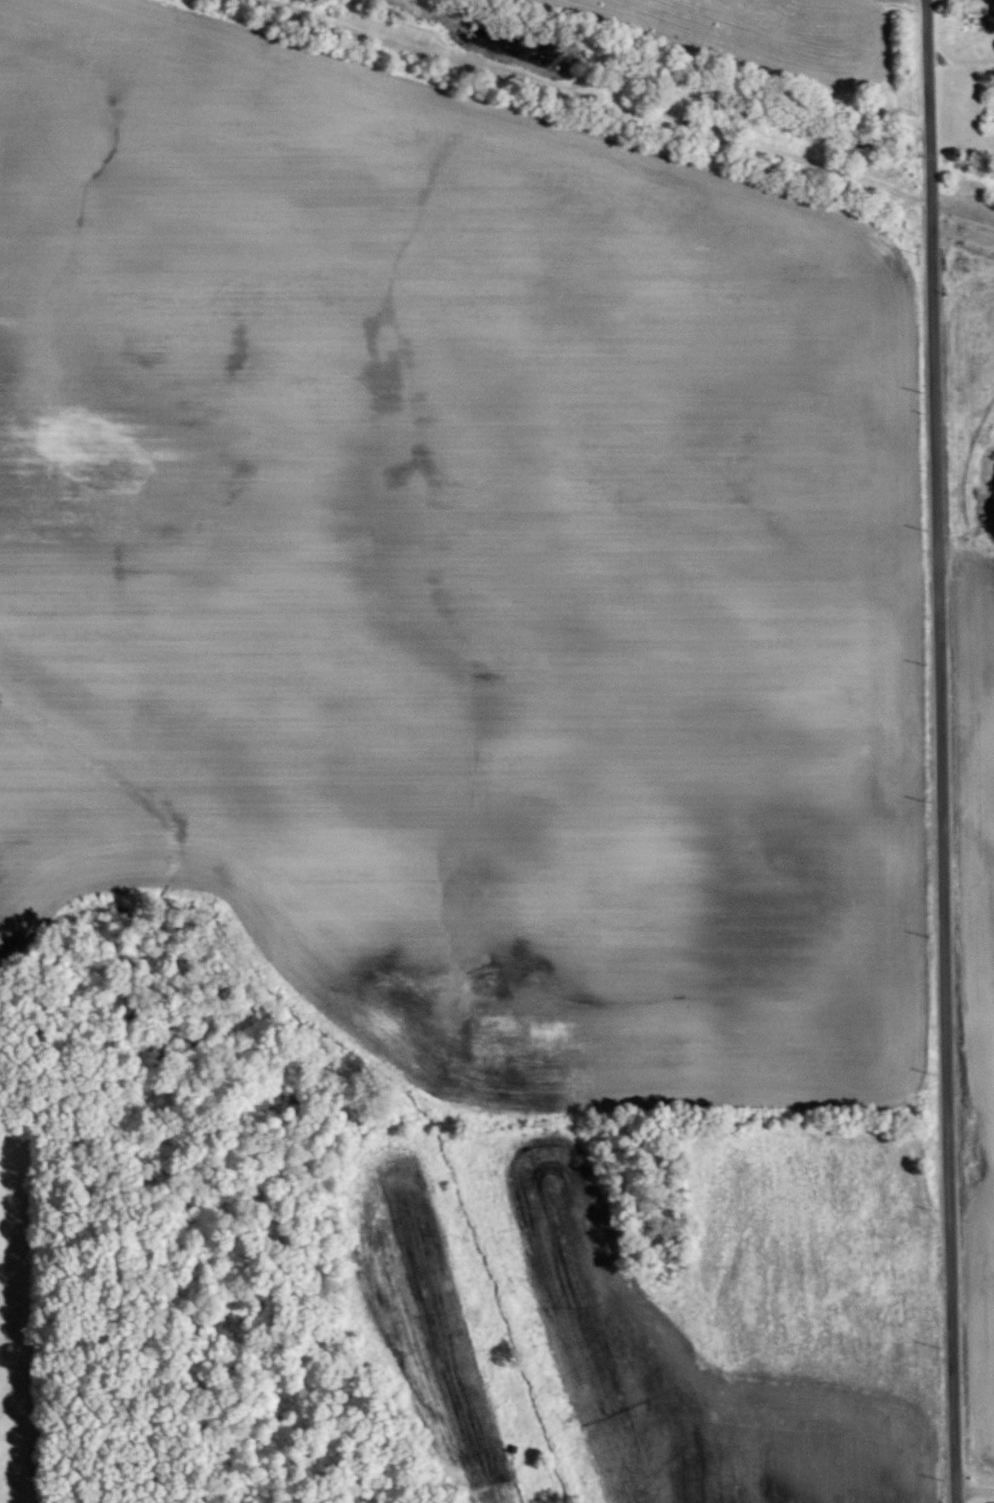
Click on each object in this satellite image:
building: (993, 8)
road: (943, 751)
road: (977, 1494)

